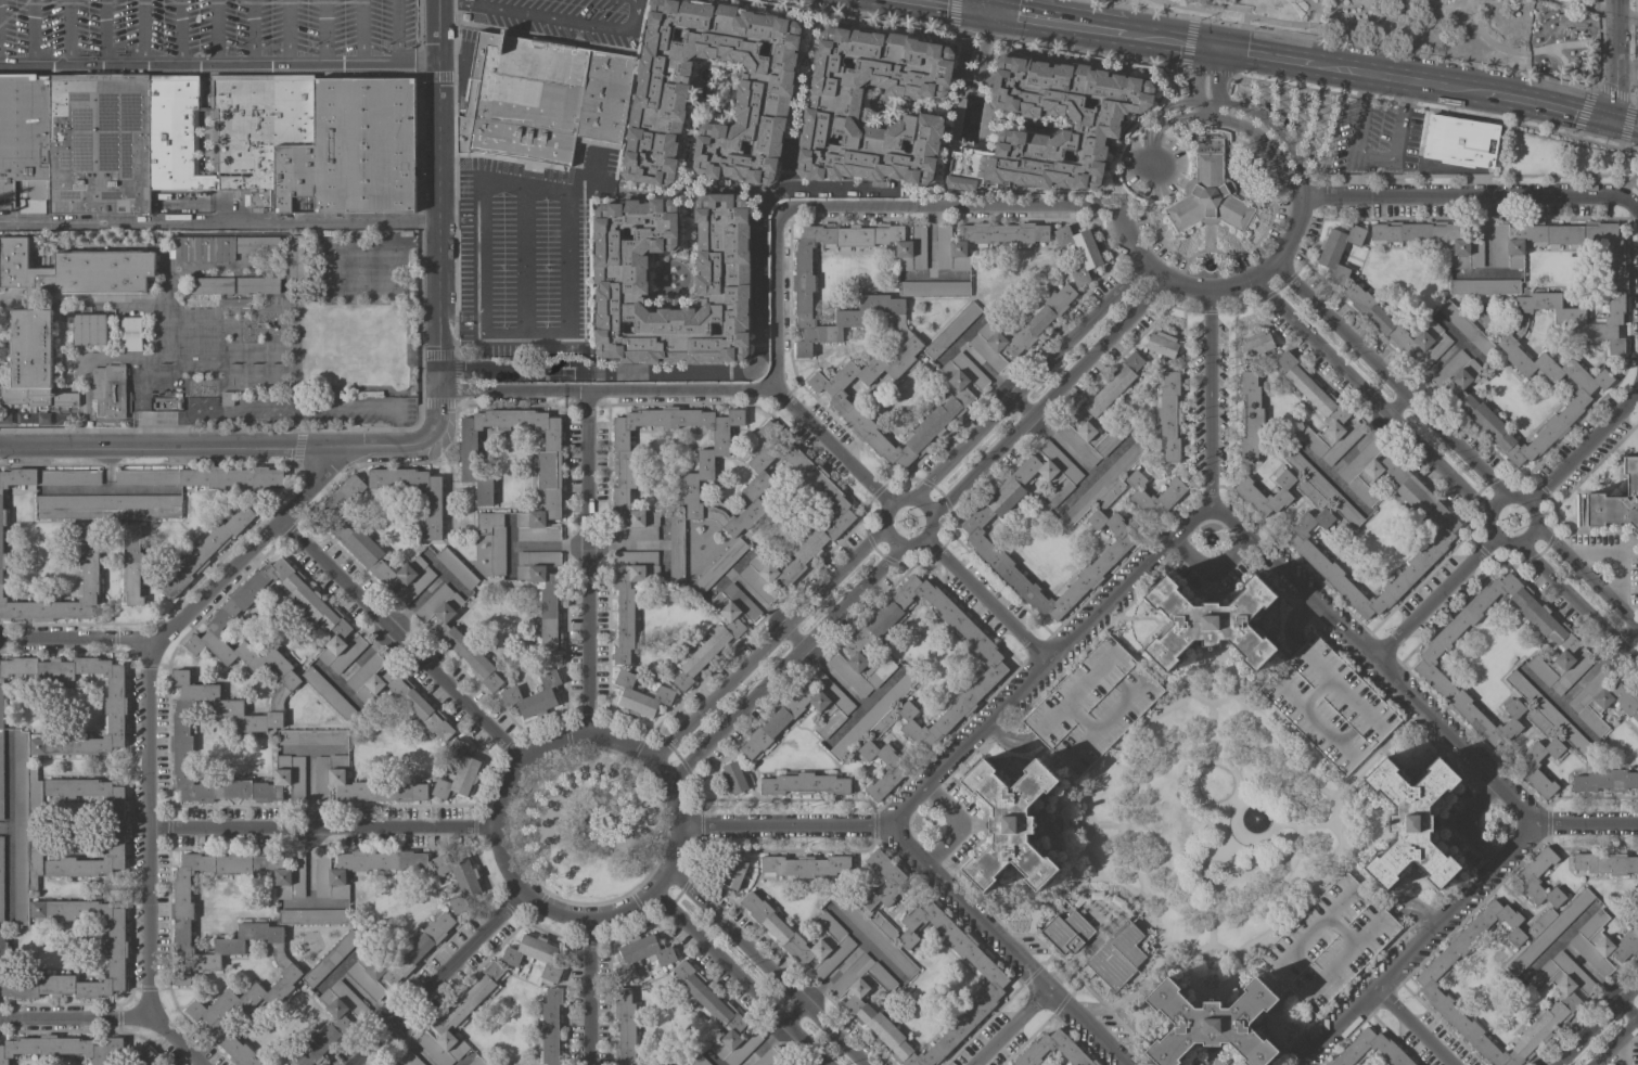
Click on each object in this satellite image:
road: (459, 2)
road: (475, 2)
road: (964, 3)
road: (986, 3)
traffic signals: (986, 8)
road: (1048, 9)
road: (1151, 10)
road: (1377, 10)
parking lot: (565, 18)
road: (1628, 18)
road: (567, 20)
road: (1054, 20)
road: (1231, 24)
road: (1304, 25)
park: (1430, 28)
road: (31, 30)
road: (66, 30)
road: (104, 30)
road: (143, 30)
road: (179, 30)
road: (215, 30)
road: (252, 30)
road: (287, 31)
road: (323, 31)
road: (359, 31)
road: (396, 31)
parking lot: (206, 35)
road: (1162, 39)
road: (1211, 48)
traffic signals: (1221, 50)
road: (1407, 54)
road: (1530, 54)
road: (1266, 56)
building: (972, 57)
road: (218, 62)
road: (1618, 62)
road: (1196, 73)
road: (968, 74)
road: (1628, 74)
road: (1219, 75)
road: (1567, 78)
road: (1397, 79)
road: (204, 84)
building: (764, 95)
building: (539, 98)
road: (1206, 100)
building: (833, 104)
road: (1201, 107)
road: (1213, 107)
road: (1547, 107)
road: (1160, 111)
road: (1221, 118)
traffic signals: (1610, 123)
building: (1096, 124)
road: (1624, 126)
road: (1279, 133)
building: (291, 139)
building: (25, 141)
building: (1460, 141)
building: (100, 142)
road: (1151, 153)
road: (1373, 156)
road: (788, 164)
road: (1291, 187)
building: (1208, 192)
road: (438, 193)
road: (567, 196)
road: (1471, 198)
road: (948, 205)
road: (460, 218)
road: (219, 220)
building: (1435, 239)
building: (981, 241)
building: (257, 244)
building: (204, 248)
building: (1339, 251)
road: (1487, 251)
building: (1078, 252)
building: (295, 257)
road: (930, 257)
road: (524, 258)
road: (1471, 273)
road: (917, 277)
building: (722, 278)
building: (213, 285)
building: (258, 285)
building: (1484, 286)
building: (934, 288)
road: (1213, 288)
road: (775, 296)
building: (233, 303)
road: (460, 321)
building: (88, 326)
road: (1448, 328)
building: (1467, 328)
building: (1399, 329)
building: (951, 330)
building: (1019, 330)
building: (131, 334)
road: (959, 339)
building: (1162, 344)
building: (1257, 345)
building: (1507, 345)
building: (911, 347)
building: (31, 348)
road: (1443, 356)
building: (567, 367)
road: (985, 368)
road: (748, 369)
road: (1027, 377)
road: (1393, 378)
road: (472, 387)
road: (638, 389)
building: (108, 390)
road: (1051, 396)
road: (1369, 396)
building: (227, 398)
road: (1396, 403)
road: (1023, 405)
road: (438, 410)
road: (291, 412)
building: (1319, 412)
building: (1100, 413)
building: (1168, 415)
building: (1251, 415)
road: (1587, 441)
road: (832, 444)
road: (382, 445)
road: (164, 446)
road: (1315, 462)
road: (1339, 463)
building: (476, 475)
building: (204, 476)
building: (1103, 486)
building: (1317, 486)
road: (95, 489)
road: (142, 489)
building: (1154, 493)
building: (1249, 493)
road: (1532, 496)
road: (1495, 501)
building: (1616, 501)
building: (694, 505)
building: (108, 506)
building: (433, 514)
road: (881, 528)
building: (1303, 529)
building: (974, 530)
road: (1538, 534)
building: (90, 539)
building: (494, 540)
road: (1488, 540)
building: (372, 546)
building: (676, 549)
road: (245, 550)
building: (206, 551)
road: (1613, 559)
road: (588, 562)
building: (132, 564)
building: (718, 566)
building: (456, 567)
road: (1208, 570)
road: (1589, 582)
road: (453, 583)
road: (1121, 586)
road: (427, 589)
road: (1627, 593)
building: (631, 596)
building: (545, 598)
road: (986, 601)
road: (1428, 601)
road: (1577, 602)
building: (1210, 623)
building: (718, 631)
road: (791, 632)
road: (1625, 633)
building: (457, 634)
road: (72, 639)
road: (399, 639)
road: (766, 640)
road: (1374, 659)
building: (1573, 660)
road: (783, 662)
building: (847, 663)
road: (350, 666)
road: (324, 671)
building: (290, 679)
road: (1541, 688)
road: (1572, 689)
building: (396, 694)
building: (330, 695)
building: (641, 695)
building: (534, 696)
building: (1602, 702)
building: (1328, 704)
building: (1092, 705)
parking lot: (1092, 705)
building: (833, 711)
building: (1547, 715)
building: (874, 718)
building: (312, 736)
building: (77, 743)
road: (294, 748)
road: (1258, 752)
building: (1526, 770)
building: (458, 771)
road: (309, 772)
building: (895, 772)
building: (735, 778)
road: (668, 780)
building: (1605, 781)
building: (359, 784)
building: (805, 784)
building: (1411, 822)
road: (1460, 823)
road: (960, 824)
building: (1011, 824)
road: (1587, 824)
road: (785, 825)
building: (25, 826)
building: (115, 827)
road: (144, 827)
road: (320, 829)
building: (1605, 863)
building: (806, 865)
building: (359, 868)
building: (733, 873)
building: (1527, 876)
building: (458, 878)
building: (896, 878)
road: (309, 880)
road: (1142, 893)
building: (1096, 895)
road: (1138, 897)
building: (1078, 900)
building: (1115, 900)
road: (327, 902)
building: (77, 913)
building: (312, 915)
building: (1548, 929)
building: (1066, 932)
building: (875, 933)
building: (835, 936)
building: (235, 938)
building: (1330, 941)
building: (1602, 942)
road: (1417, 945)
road: (1002, 948)
building: (642, 954)
building: (535, 955)
building: (1119, 955)
road: (349, 957)
building: (331, 959)
building: (397, 959)
road: (768, 968)
road: (741, 978)
road: (438, 979)
road: (1597, 979)
building: (1572, 981)
building: (865, 983)
road: (354, 987)
road: (589, 992)
road: (794, 1012)
road: (74, 1017)
building: (459, 1017)
building: (718, 1017)
road: (1595, 1021)
building: (1212, 1023)
building: (331, 1024)
road: (1417, 1024)
building: (626, 1026)
building: (550, 1027)
road: (1009, 1028)
road: (1614, 1039)
road: (172, 1041)
building: (1371, 1043)
road: (413, 1044)
building: (1052, 1044)
building: (61, 1048)
road: (1622, 1052)
building: (148, 1057)
building: (768, 1057)
building: (409, 1058)
road: (463, 1058)
building: (701, 1061)
building: (477, 1062)
building: (786, 1063)
building: (391, 1064)
building: (783, 1064)

